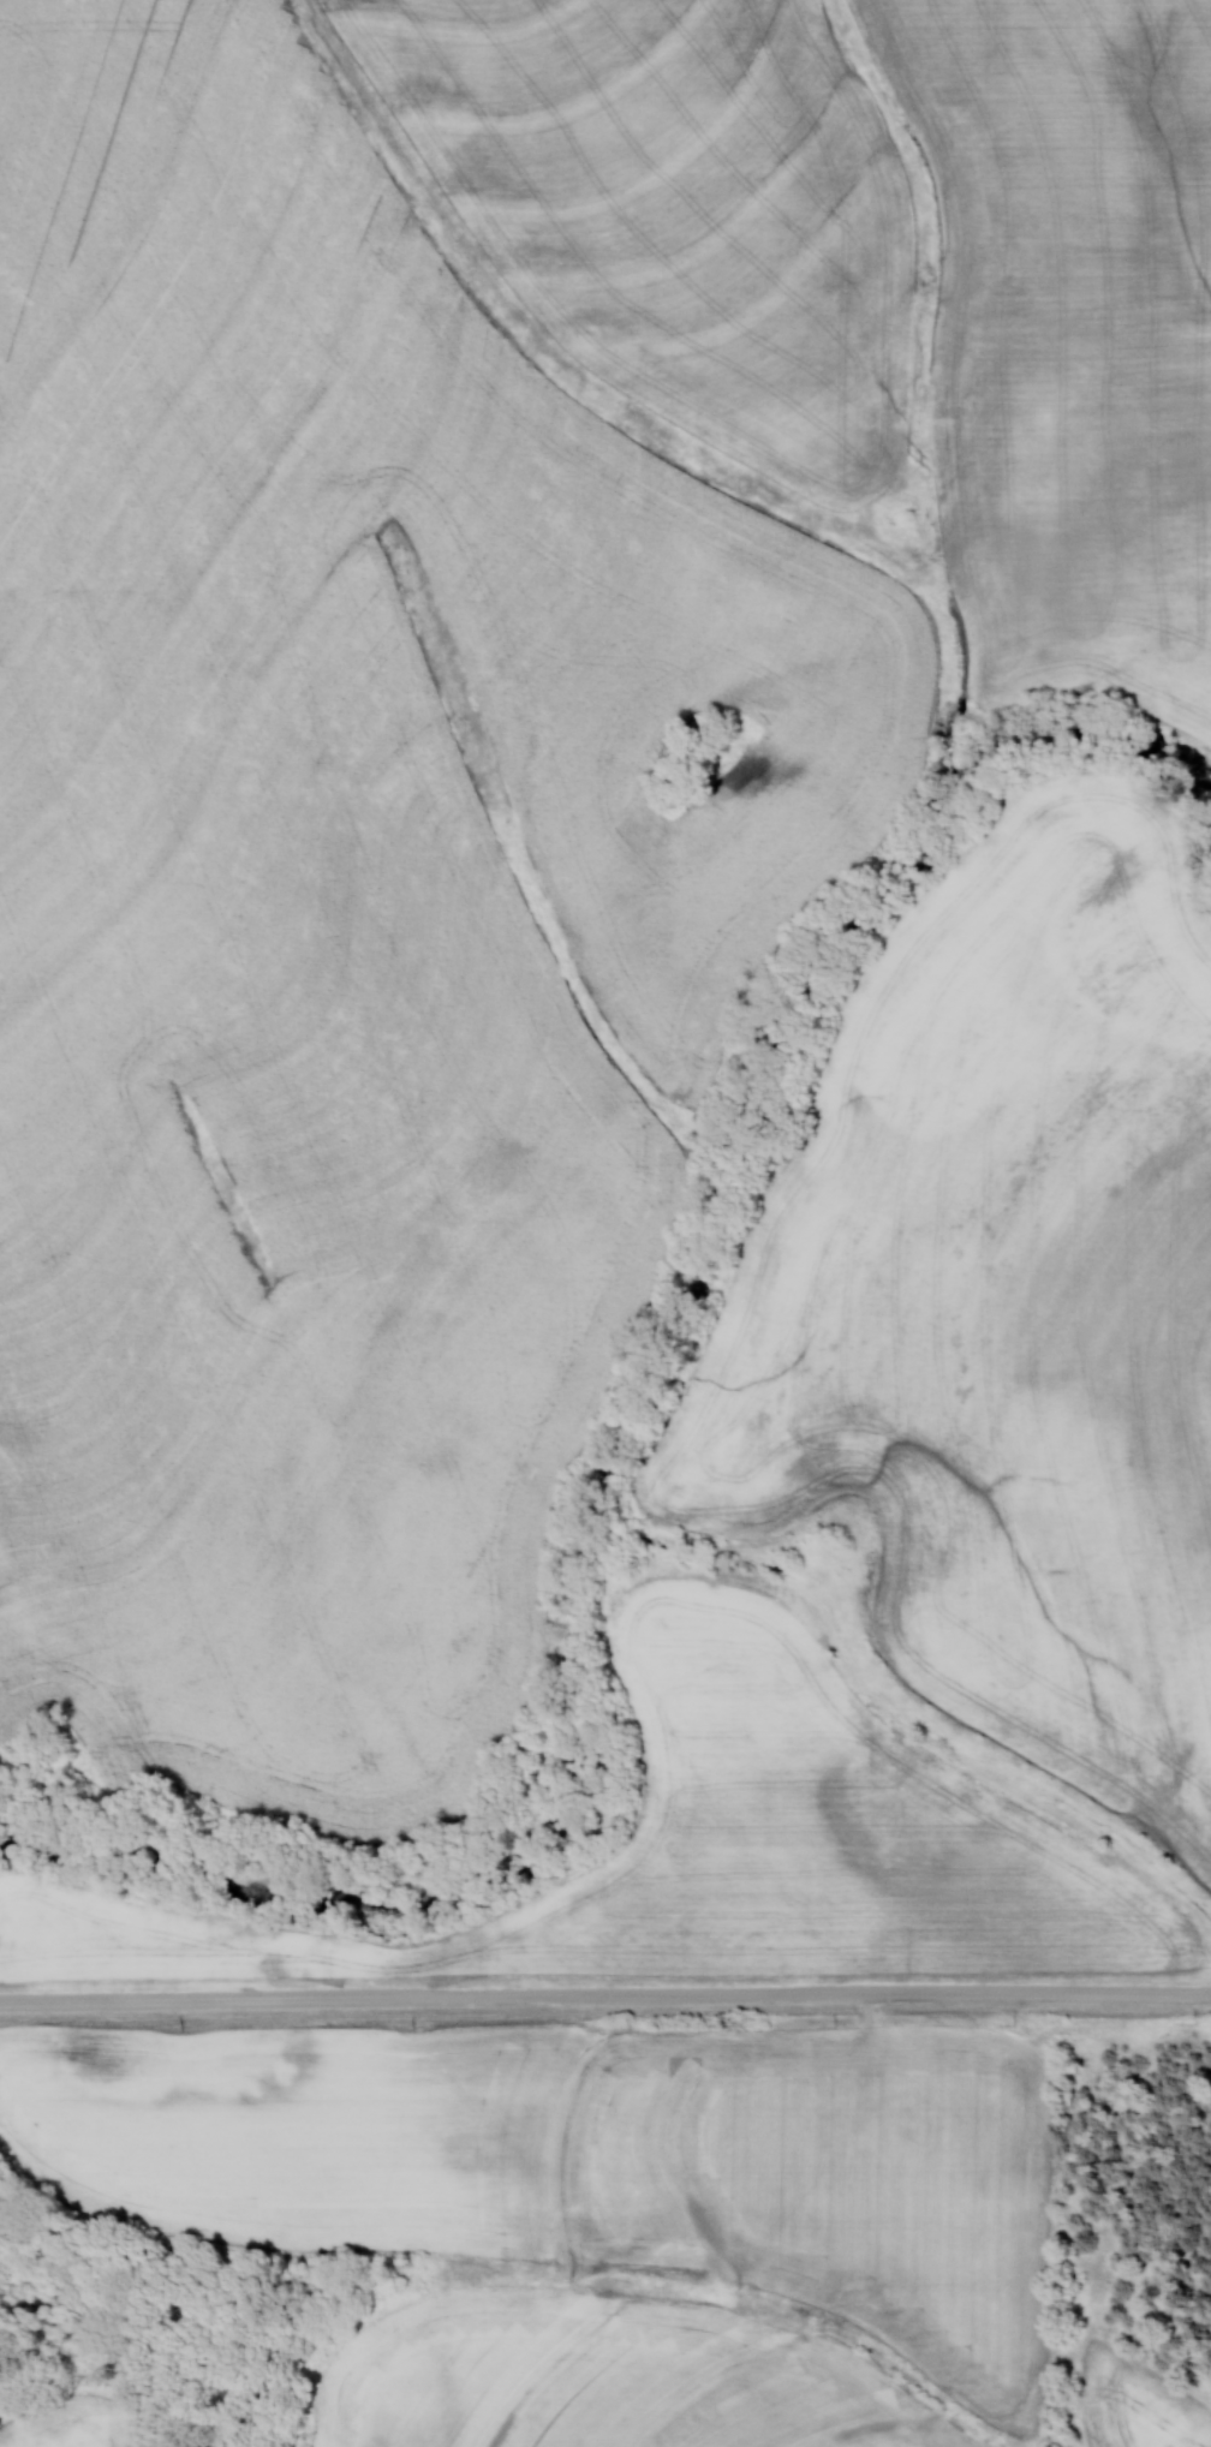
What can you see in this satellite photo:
road: (605, 2003)

